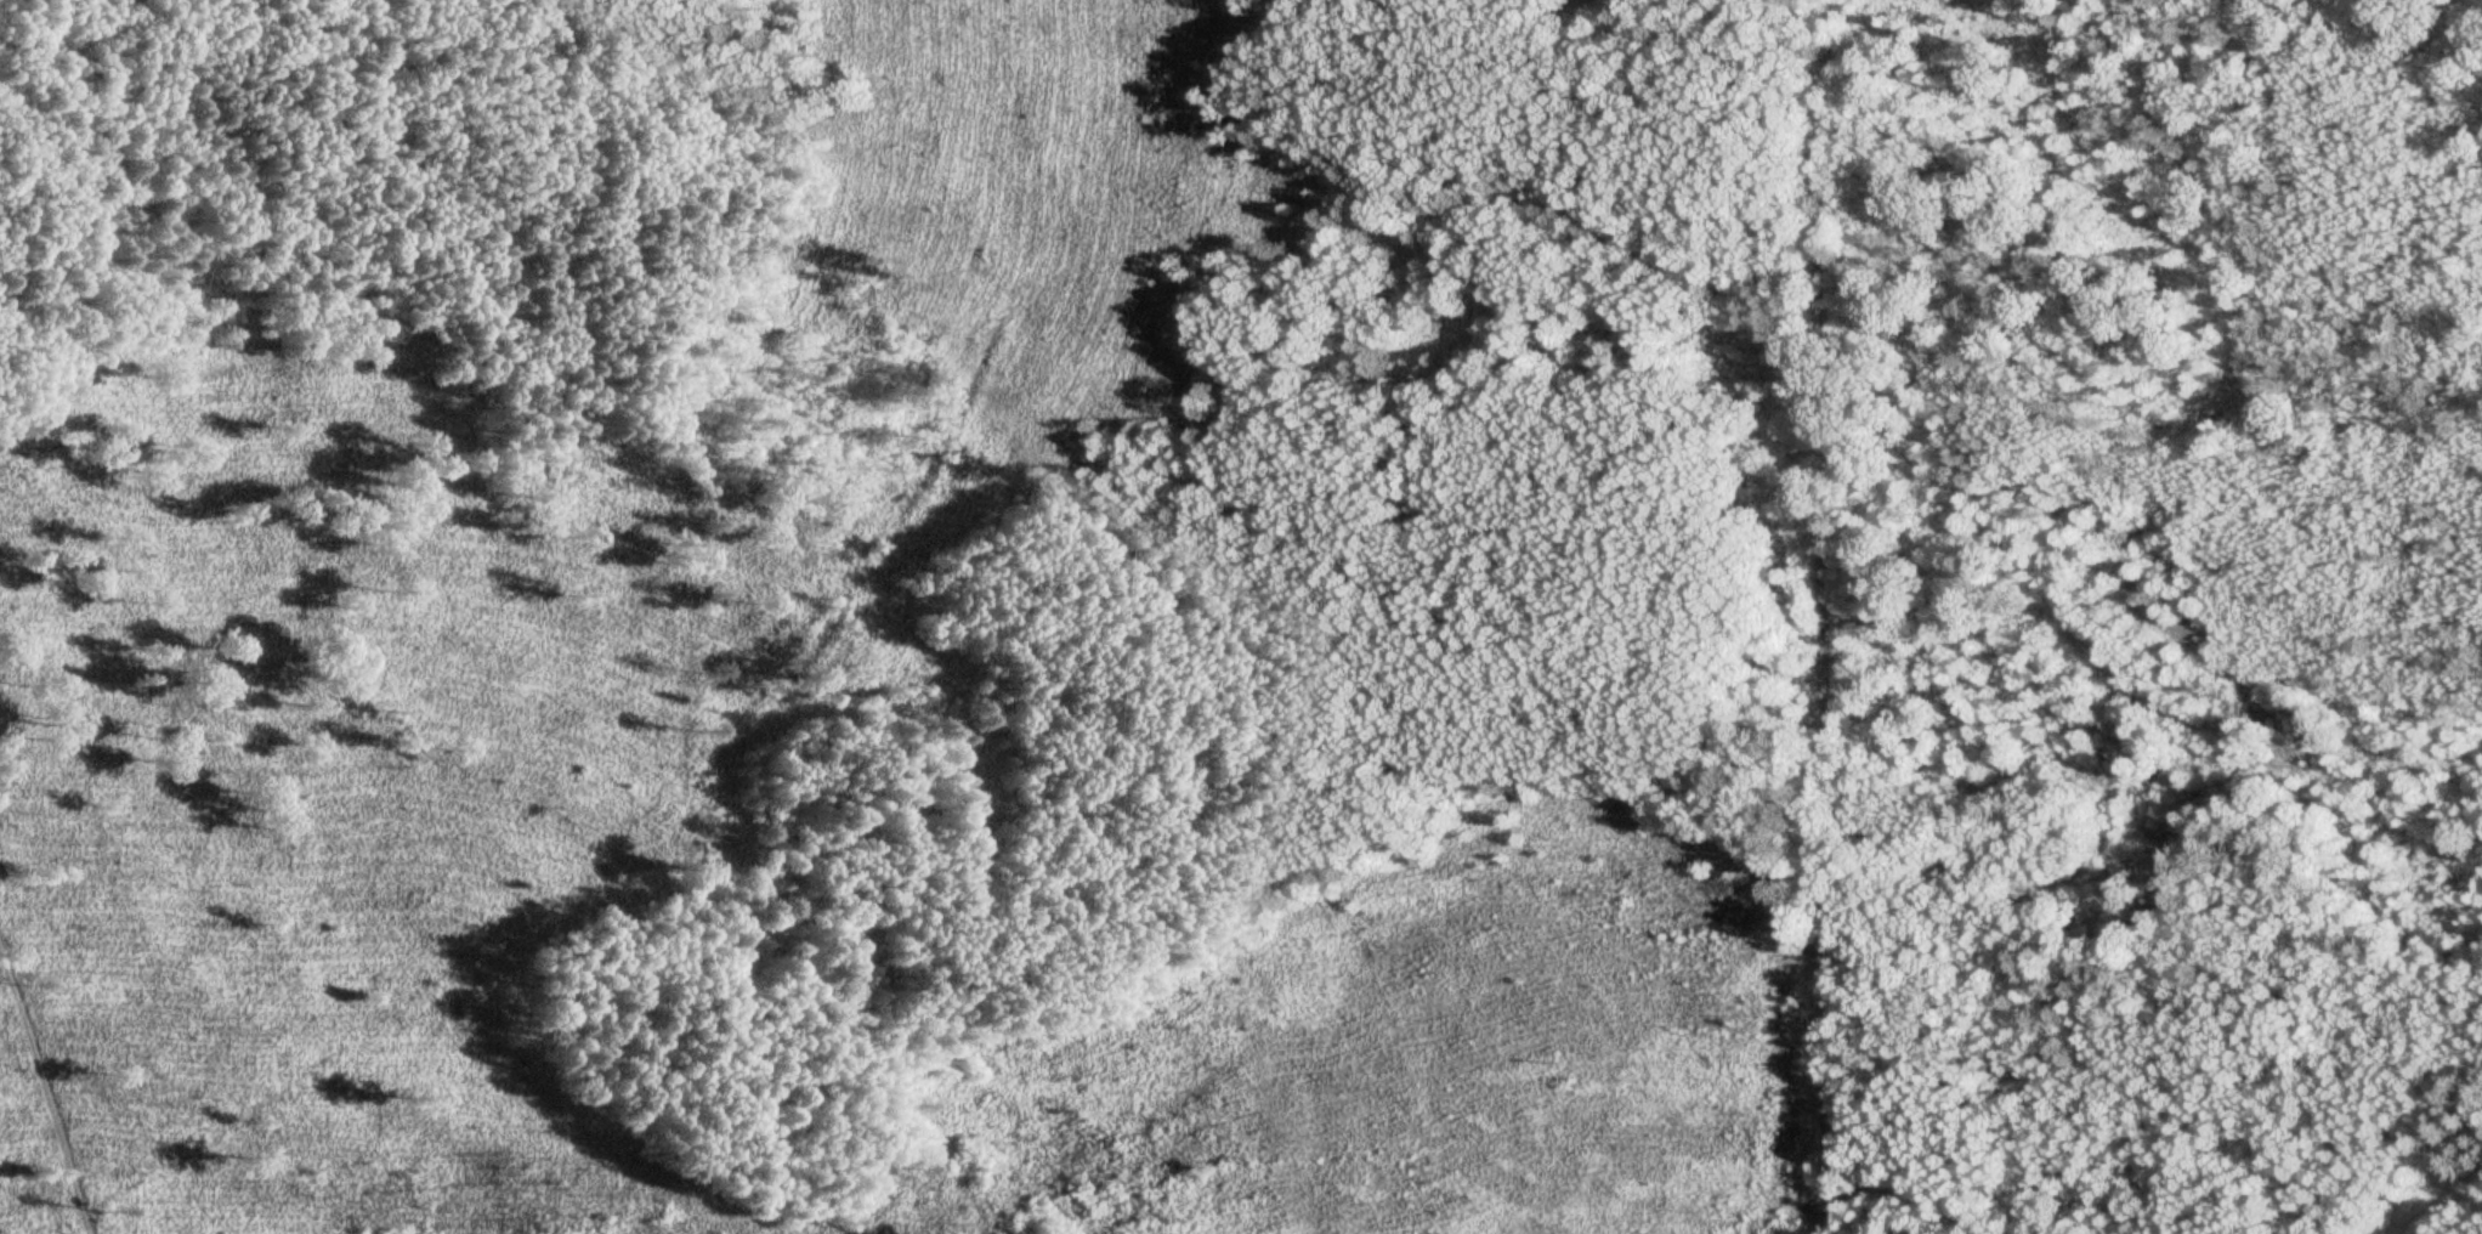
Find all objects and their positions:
road: (1560, 2)
road: (1819, 616)
road: (50, 1083)

